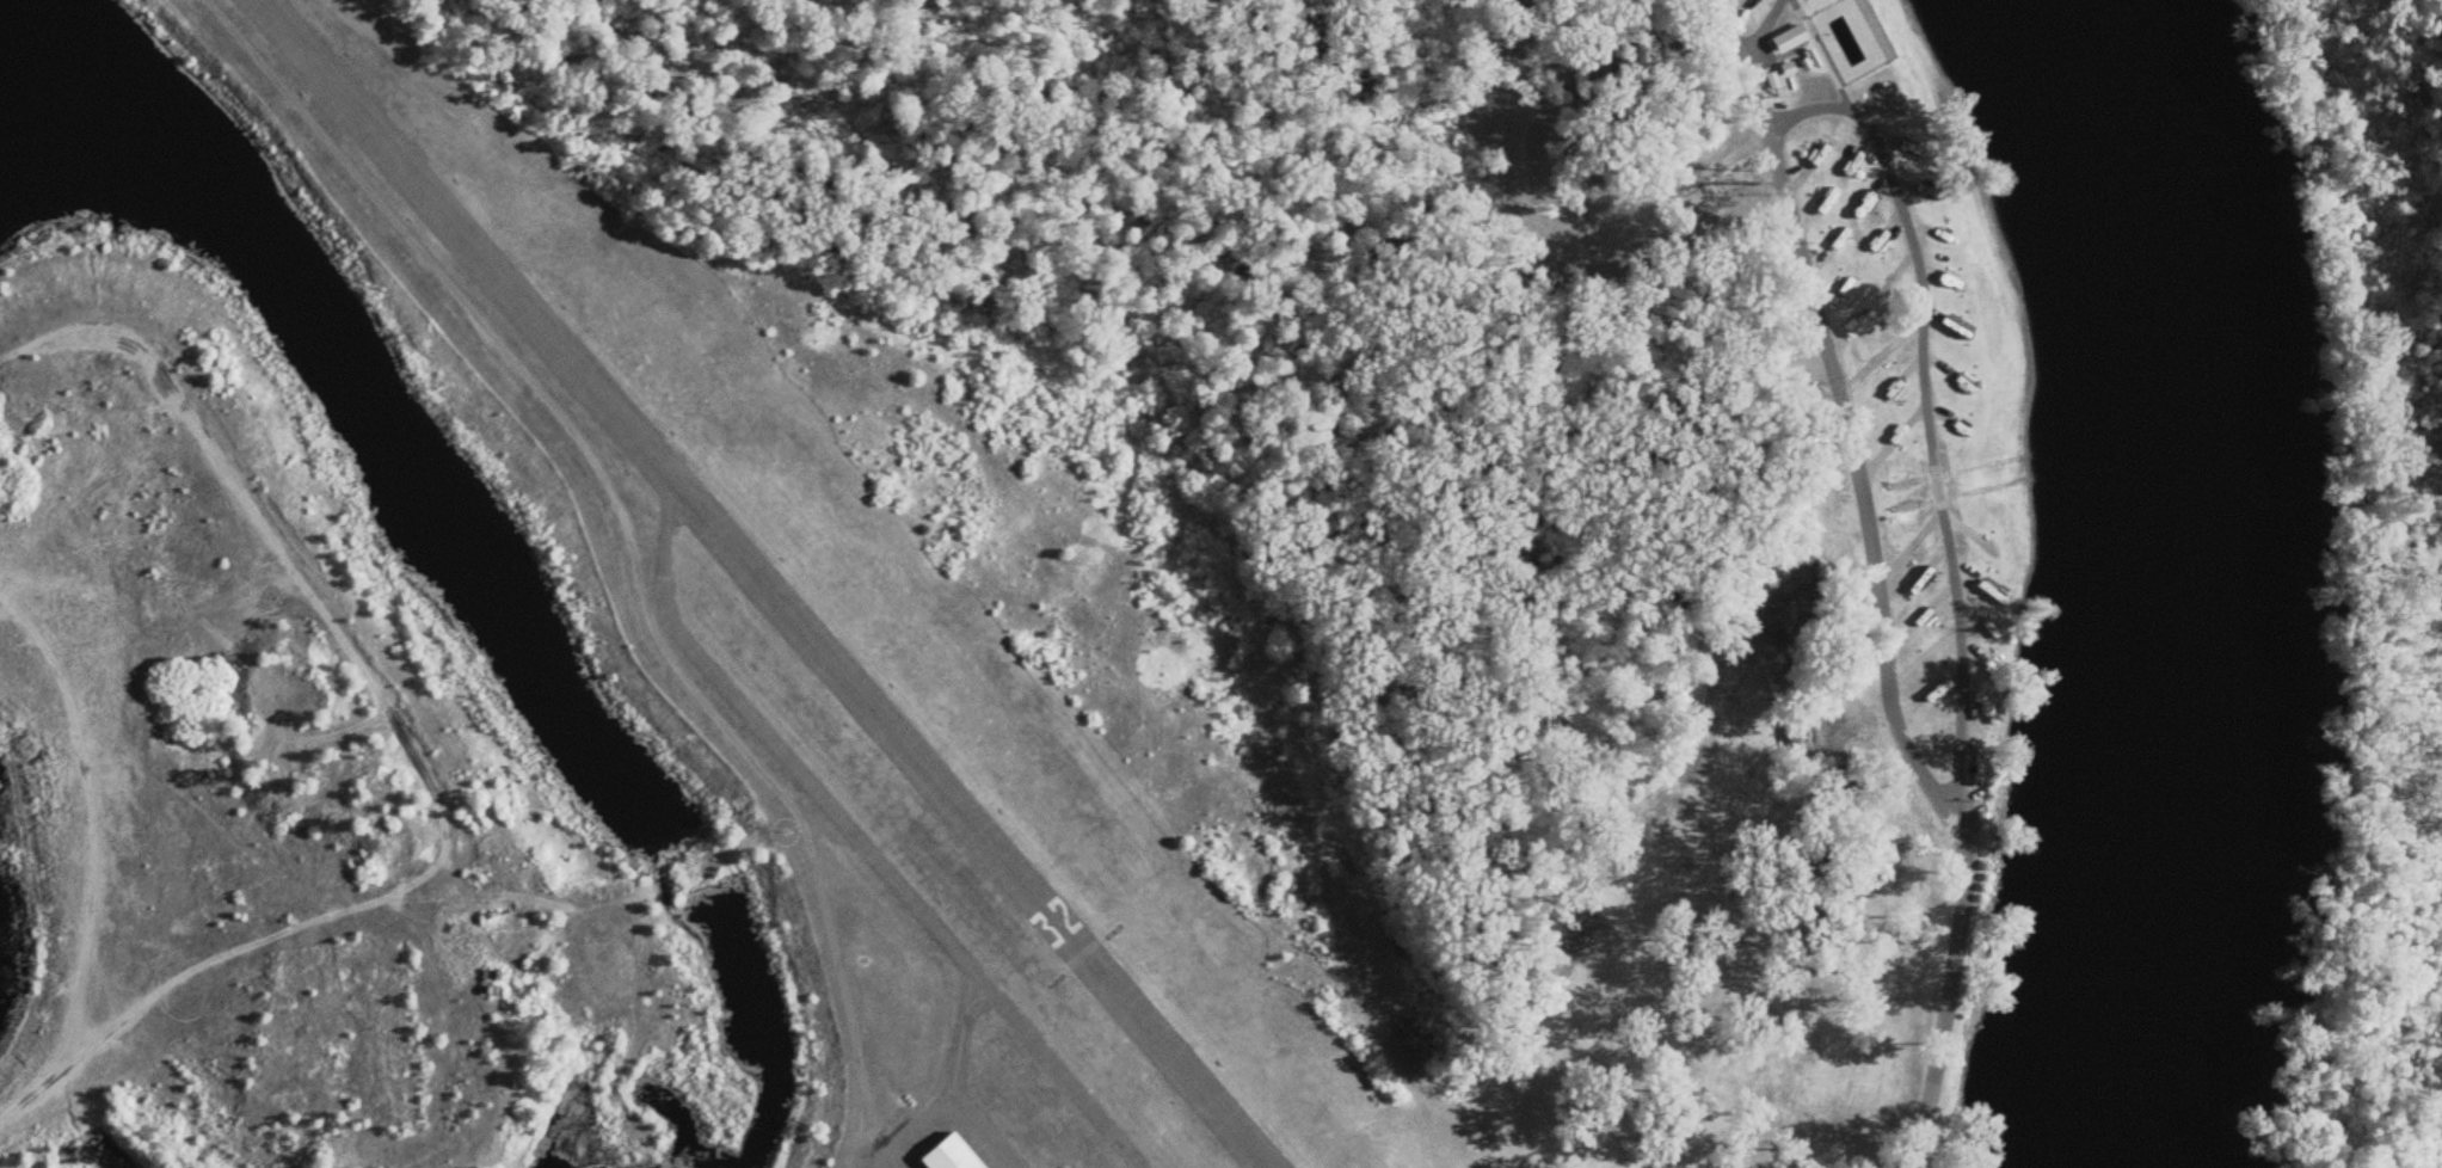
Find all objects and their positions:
road: (1764, 31)
road: (1731, 33)
road: (1759, 112)
road: (1813, 112)
river: (2142, 188)
building: (1919, 503)
road: (619, 548)
airport taxiway: (658, 577)
airport runway: (734, 583)
airport runway: (788, 584)
road: (408, 750)
river: (2158, 777)
road: (91, 806)
road: (597, 877)
road: (1949, 1004)
road: (160, 1106)
airport apron: (949, 1139)
airport hangar: (947, 1157)
building: (947, 1157)

